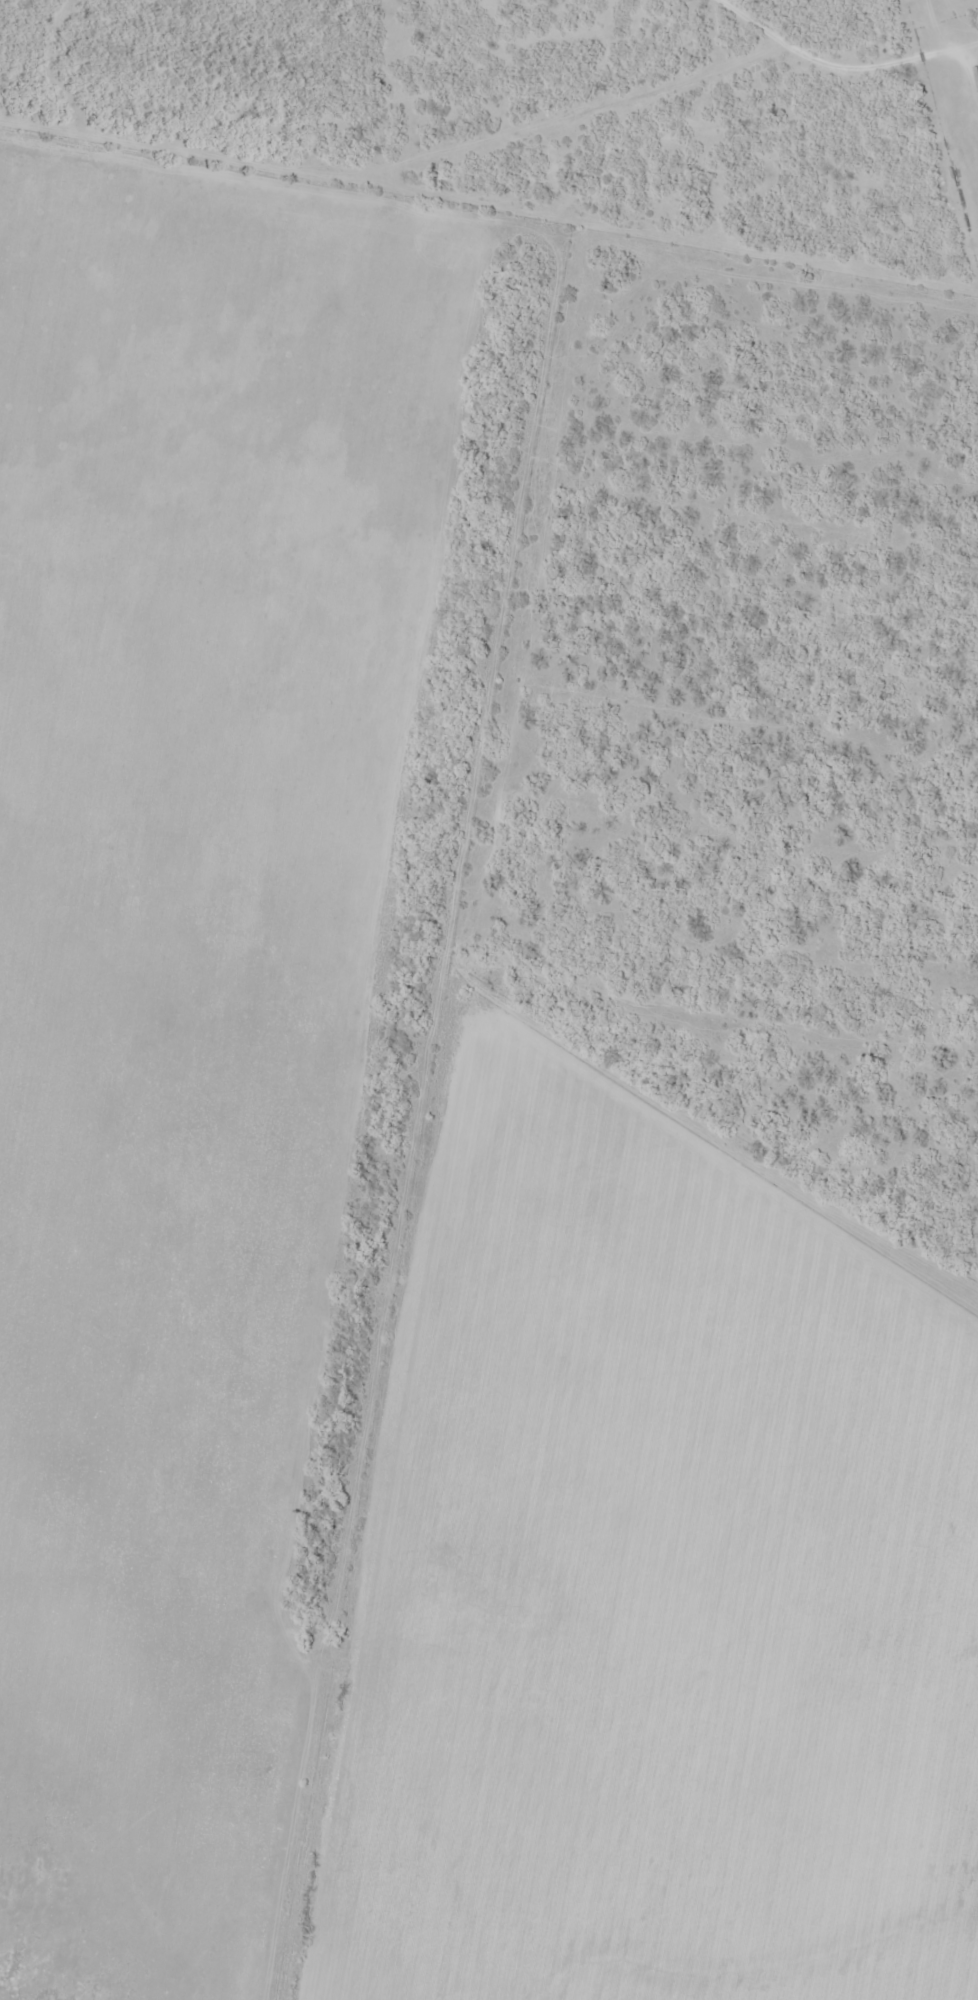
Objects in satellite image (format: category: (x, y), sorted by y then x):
road: (488, 243)
road: (455, 832)
road: (263, 1633)

